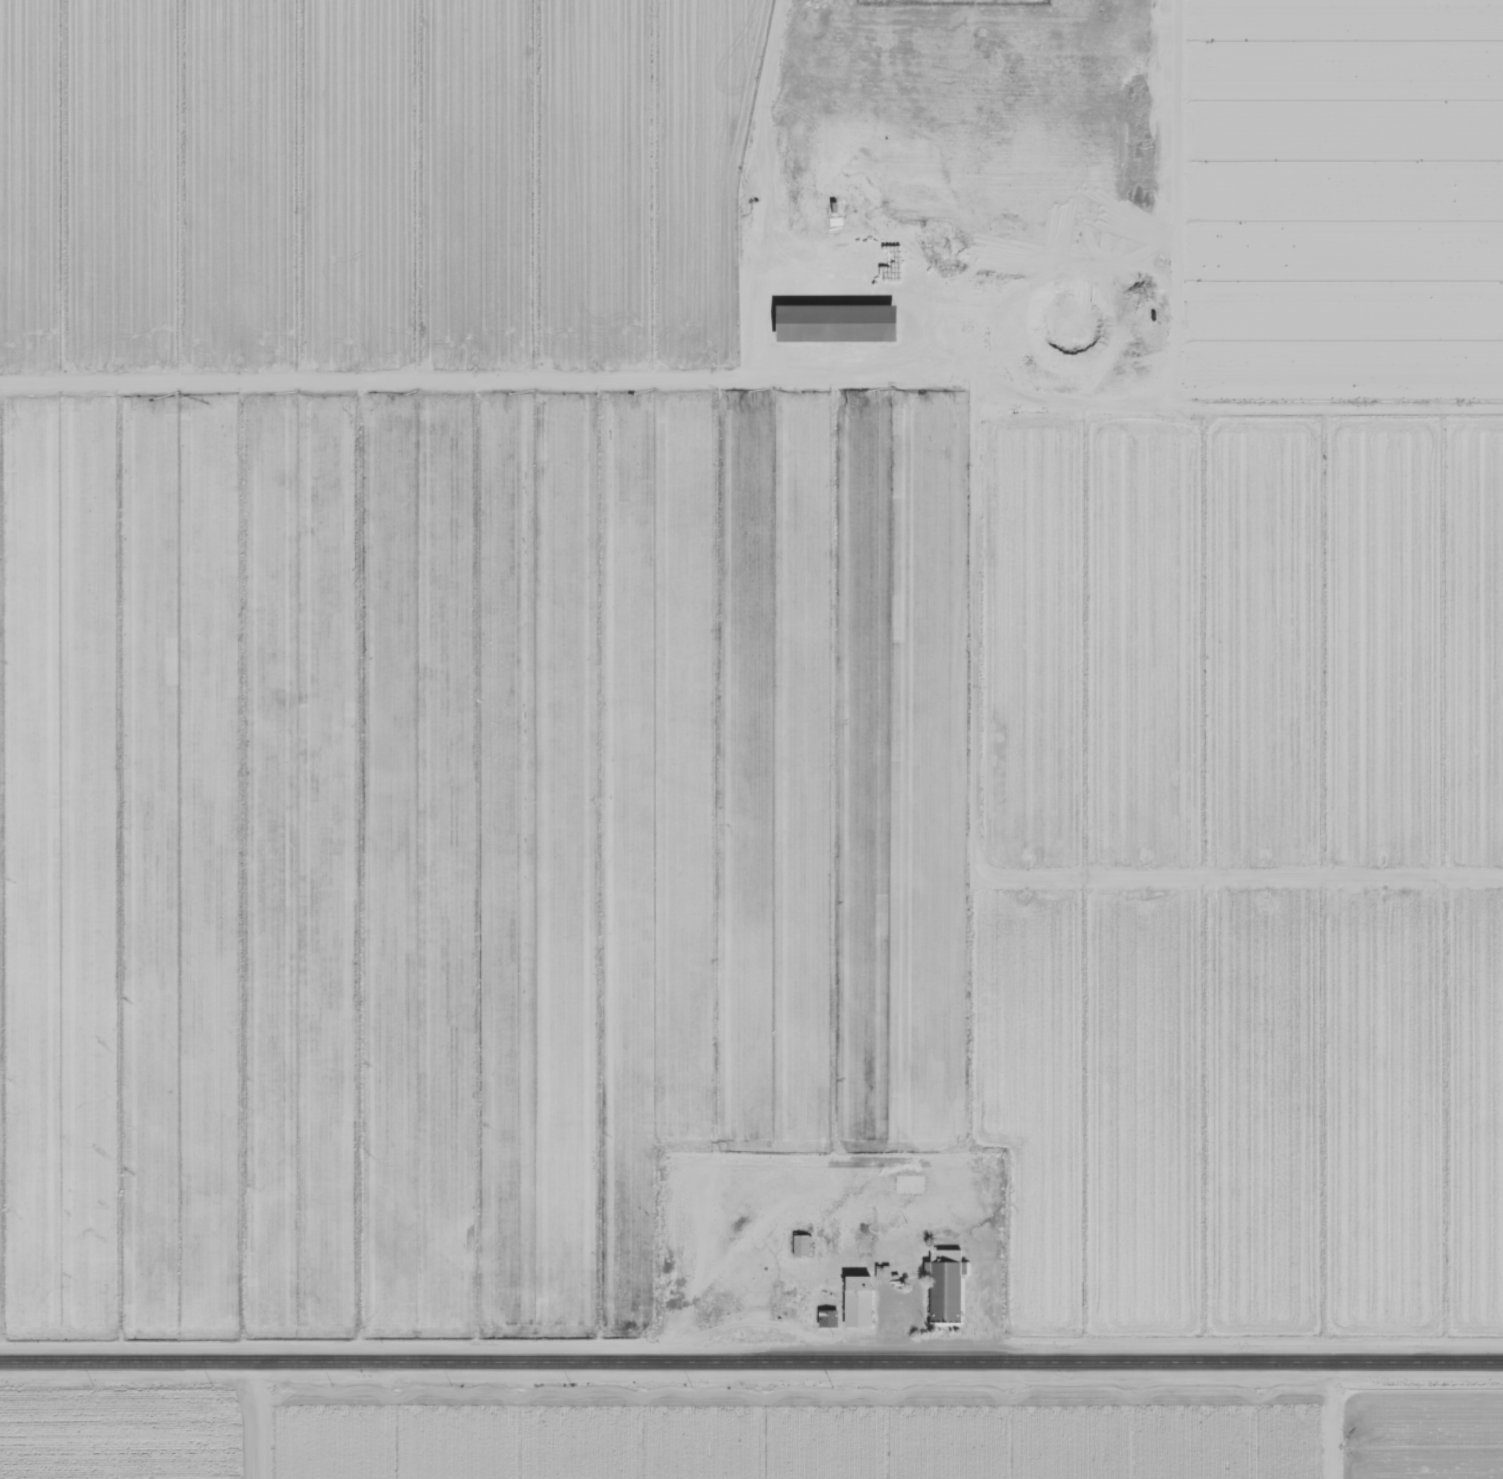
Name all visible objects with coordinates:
crop: (372, 184)
road: (1145, 191)
road: (1177, 197)
road: (885, 295)
building: (836, 324)
crop: (1241, 640)
road: (974, 770)
building: (799, 1245)
building: (943, 1285)
building: (856, 1301)
building: (826, 1318)
road: (1365, 1363)
road: (613, 1364)
road: (1327, 1421)
road: (259, 1422)

